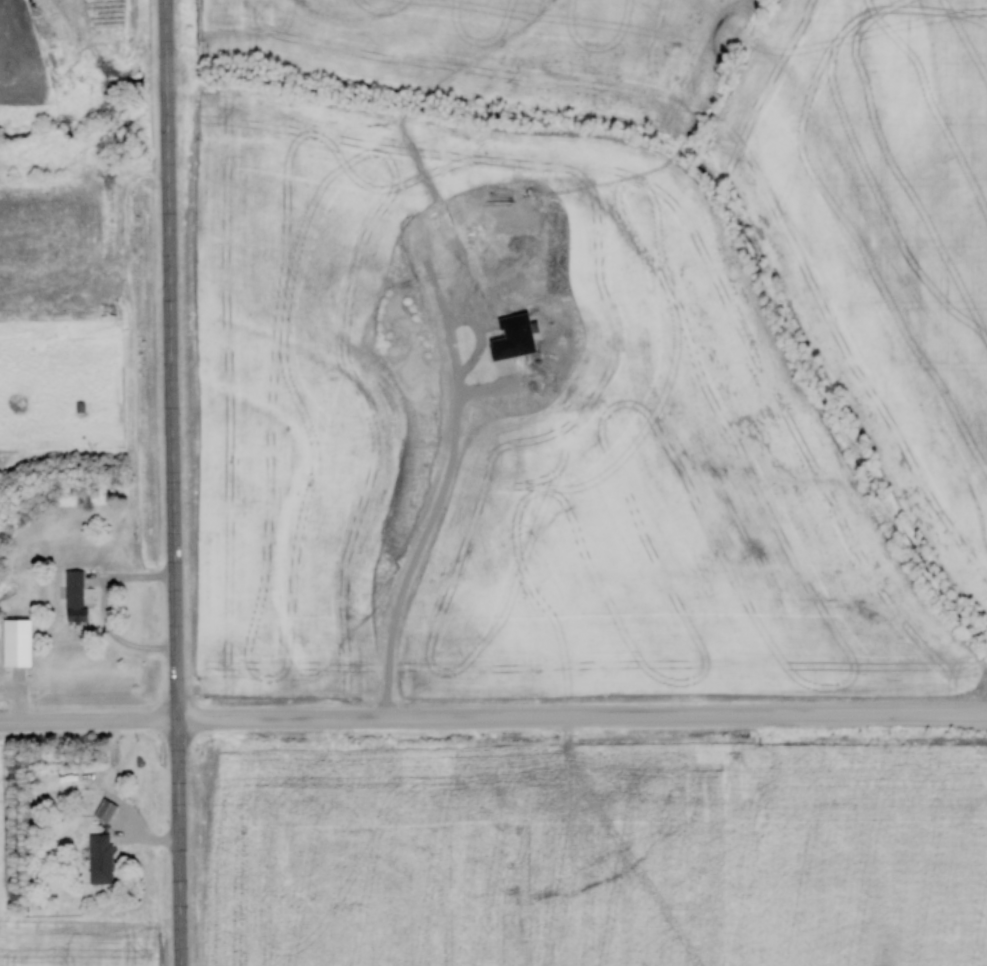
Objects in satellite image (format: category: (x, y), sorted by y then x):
road: (173, 482)
building: (74, 595)
building: (14, 642)
road: (493, 716)
building: (104, 810)
building: (99, 858)

